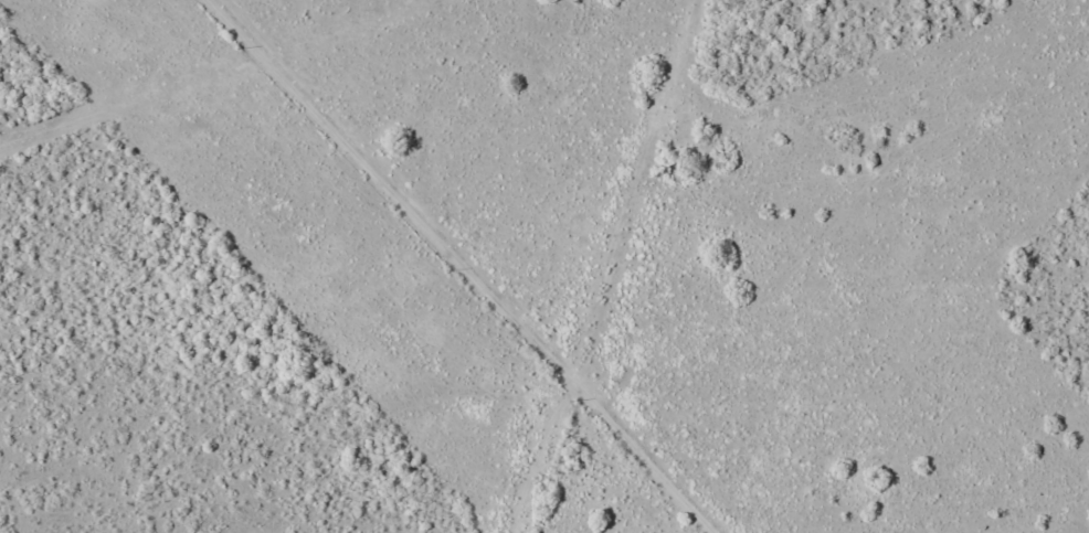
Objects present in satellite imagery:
road: (431, 252)
road: (652, 481)

